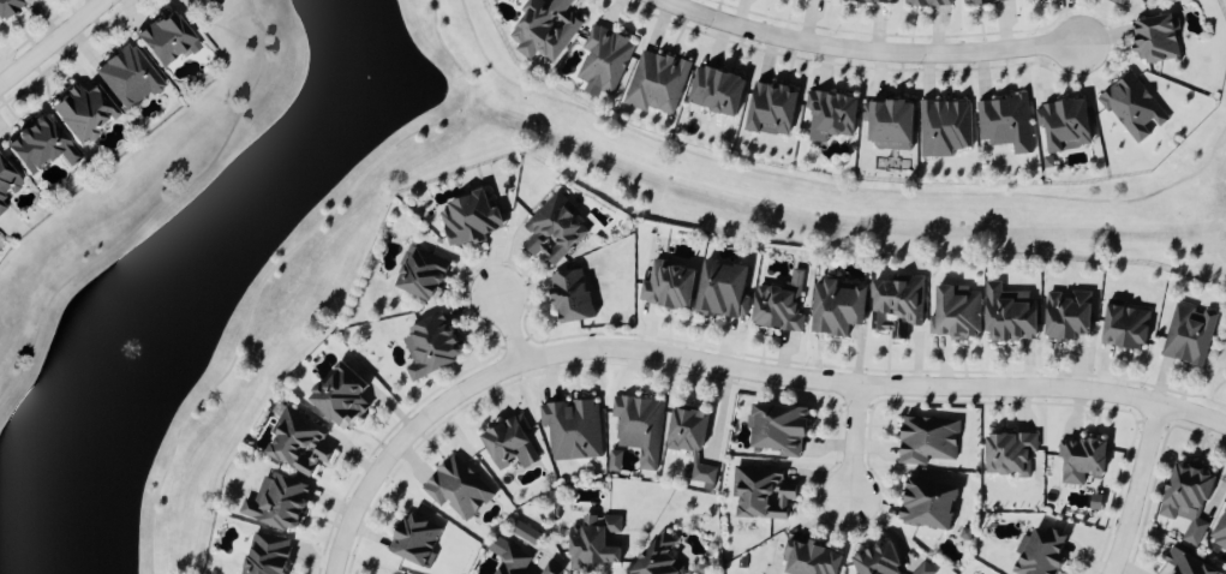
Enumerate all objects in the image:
building: (866, 1)
building: (982, 1)
building: (927, 2)
building: (1116, 2)
building: (7, 6)
building: (544, 30)
building: (1153, 38)
building: (162, 40)
road: (53, 42)
road: (867, 53)
fountain: (378, 59)
building: (603, 61)
building: (125, 78)
building: (656, 84)
building: (714, 91)
building: (1132, 107)
building: (769, 108)
building: (79, 112)
building: (829, 115)
building: (887, 124)
building: (1004, 124)
building: (1063, 125)
building: (943, 128)
building: (36, 145)
building: (7, 181)
road: (827, 185)
road: (169, 198)
building: (2, 203)
building: (467, 220)
building: (551, 231)
road: (283, 257)
building: (420, 276)
building: (666, 287)
building: (719, 289)
building: (568, 298)
building: (893, 306)
building: (775, 307)
building: (835, 309)
building: (956, 312)
building: (1006, 315)
building: (1065, 317)
building: (1123, 328)
road: (512, 330)
building: (1188, 335)
building: (429, 347)
fountain: (130, 353)
road: (874, 387)
building: (337, 399)
building: (636, 426)
building: (570, 430)
building: (775, 430)
building: (683, 431)
building: (926, 442)
building: (295, 443)
road: (401, 444)
building: (506, 444)
road: (855, 444)
building: (1006, 455)
building: (1083, 459)
building: (614, 461)
building: (700, 476)
building: (457, 489)
road: (1138, 490)
building: (759, 494)
building: (1185, 500)
building: (275, 503)
building: (925, 506)
building: (525, 533)
building: (1219, 533)
building: (412, 540)
building: (593, 544)
building: (1040, 551)
building: (265, 554)
building: (508, 556)
building: (654, 558)
building: (807, 560)
building: (874, 561)
building: (1183, 564)
building: (549, 568)
building: (921, 569)

